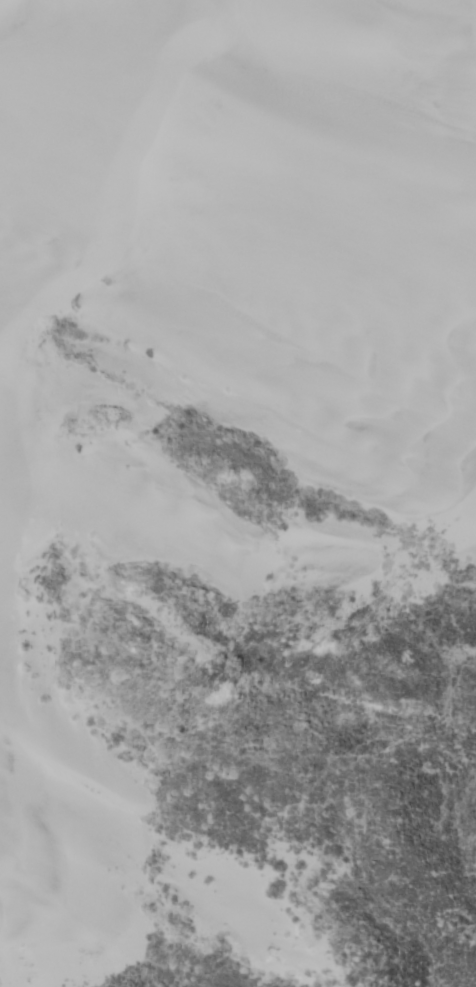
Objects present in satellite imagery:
park: (238, 493)

